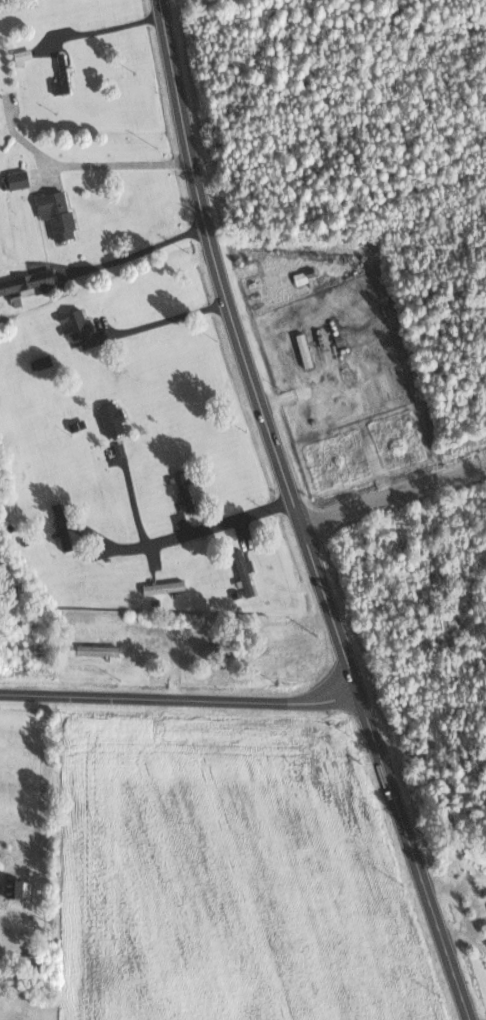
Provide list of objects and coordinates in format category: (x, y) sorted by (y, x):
building: (21, 56)
building: (61, 76)
road: (122, 164)
building: (17, 179)
building: (56, 213)
building: (305, 277)
building: (29, 282)
road: (166, 319)
building: (74, 323)
building: (111, 418)
road: (130, 494)
road: (395, 494)
road: (299, 514)
road: (204, 531)
building: (243, 572)
building: (157, 587)
road: (179, 696)
road: (43, 794)
building: (480, 857)
building: (18, 889)

